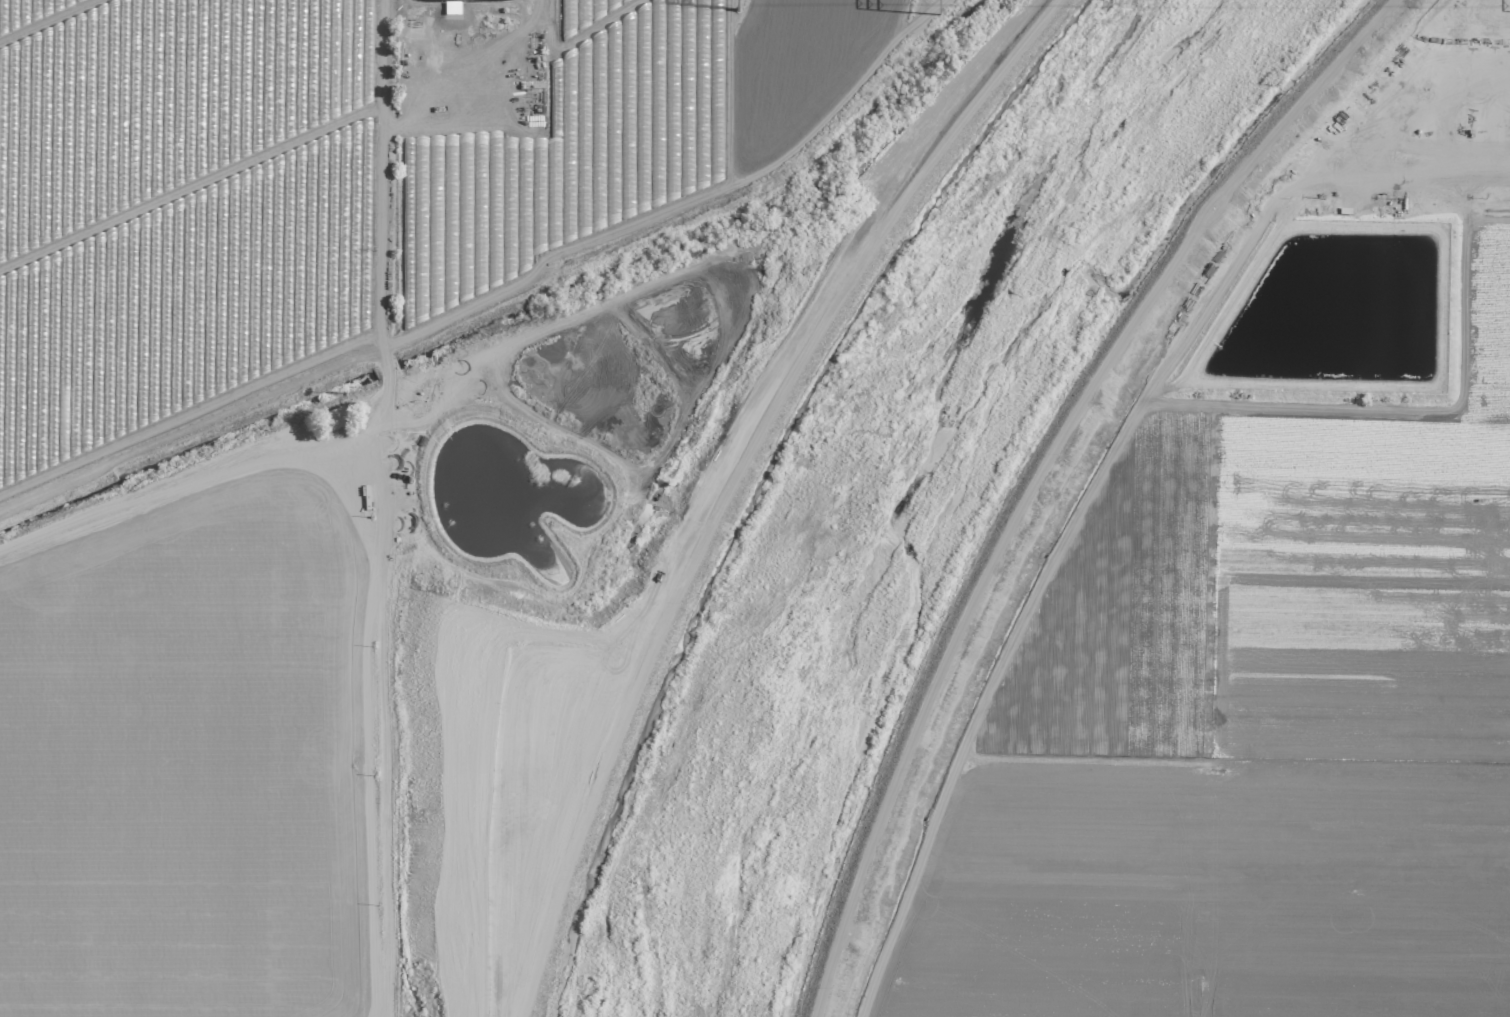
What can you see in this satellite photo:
power tower: (937, 3)
power tower: (741, 5)
crop: (621, 130)
road: (381, 195)
road: (1354, 209)
crop: (173, 212)
road: (362, 398)
building: (334, 419)
road: (1038, 467)
river: (903, 474)
crop: (1278, 622)
crop: (366, 679)

